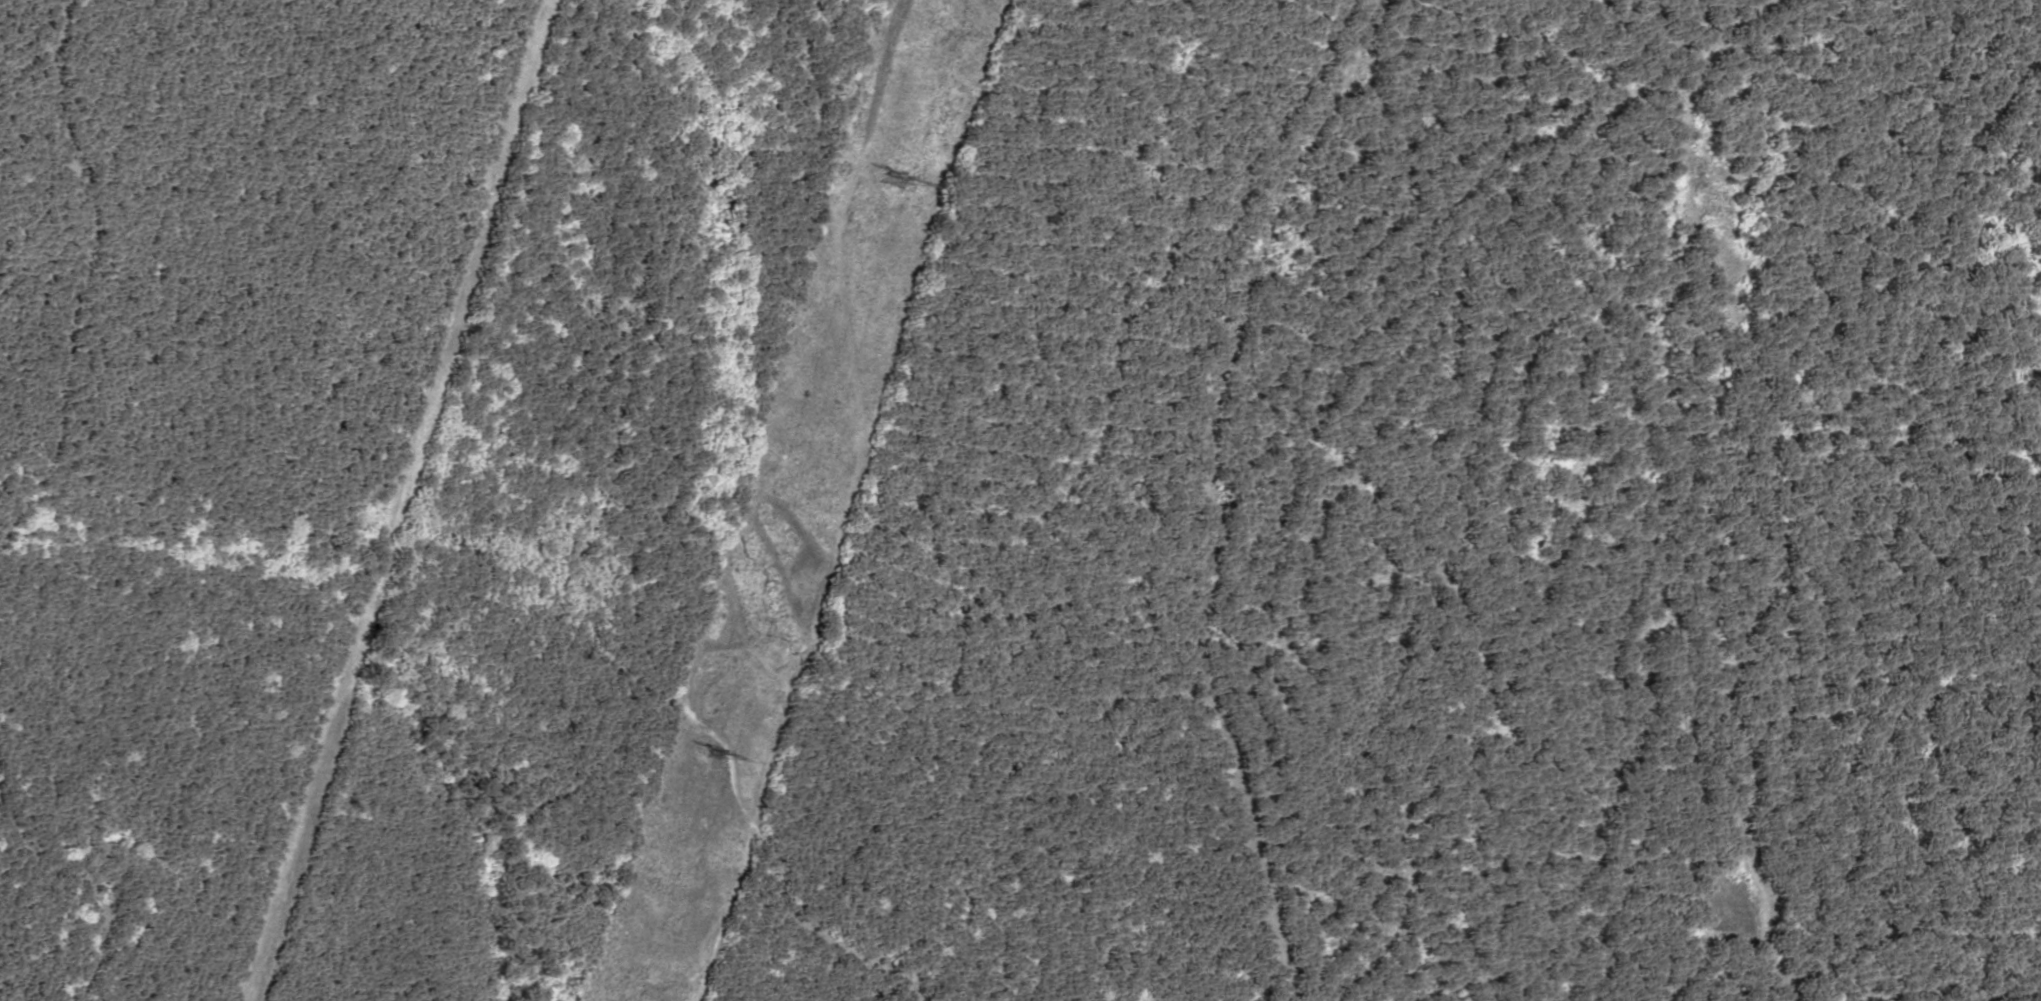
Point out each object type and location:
power tower: (884, 177)
road: (17, 504)
power tower: (706, 755)

